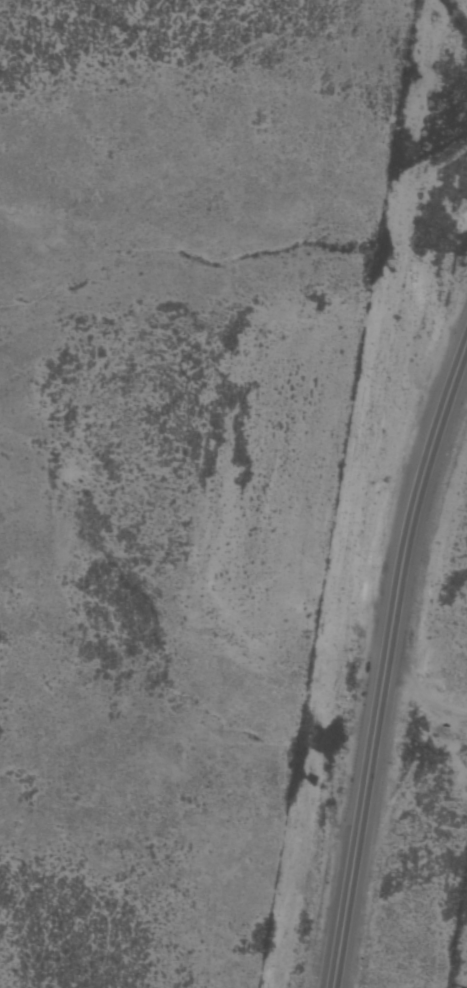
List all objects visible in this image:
road: (387, 664)

